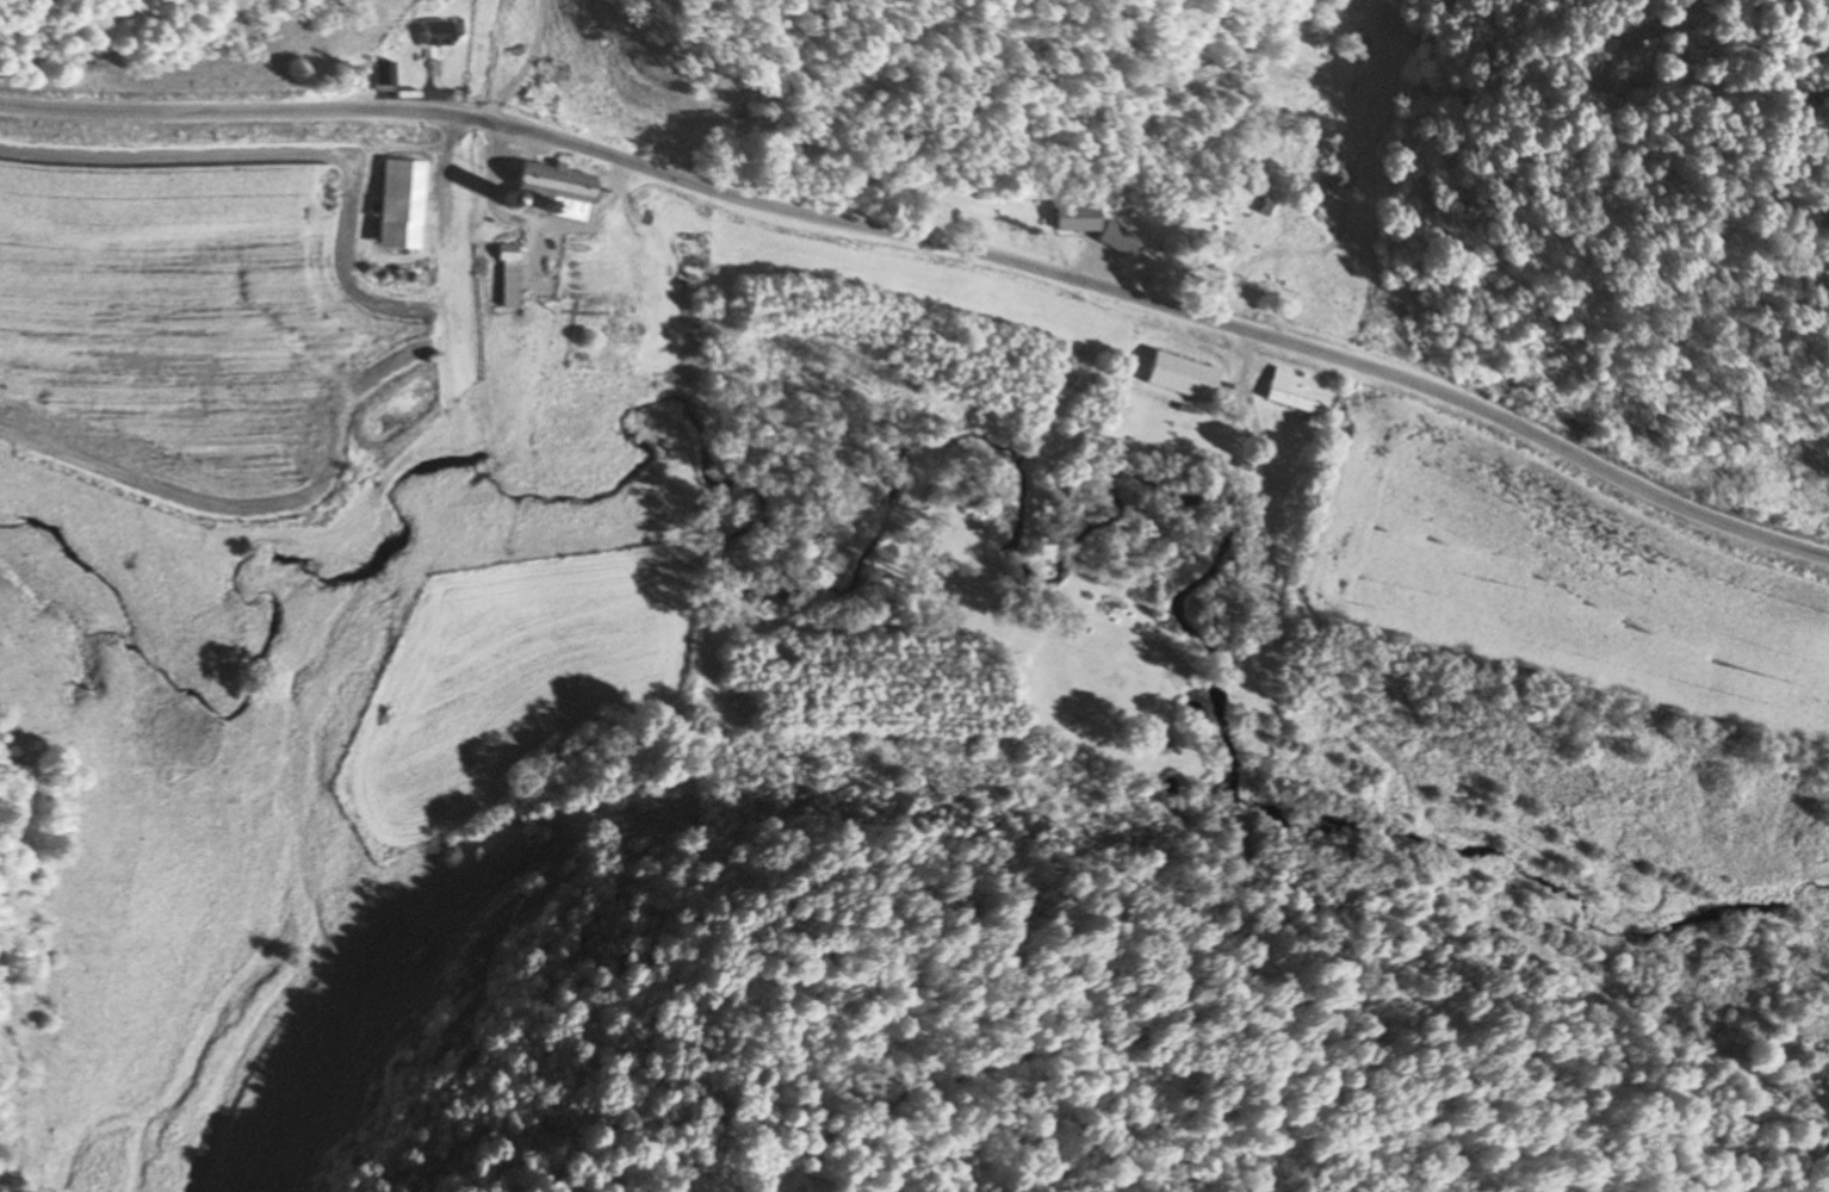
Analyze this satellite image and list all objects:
building: (433, 33)
building: (380, 75)
building: (582, 80)
building: (552, 184)
building: (399, 204)
building: (1263, 206)
building: (1075, 217)
building: (1116, 236)
road: (932, 244)
building: (508, 277)
crop: (190, 303)
building: (1180, 375)
building: (1288, 398)
crop: (1555, 569)
crop: (509, 683)

